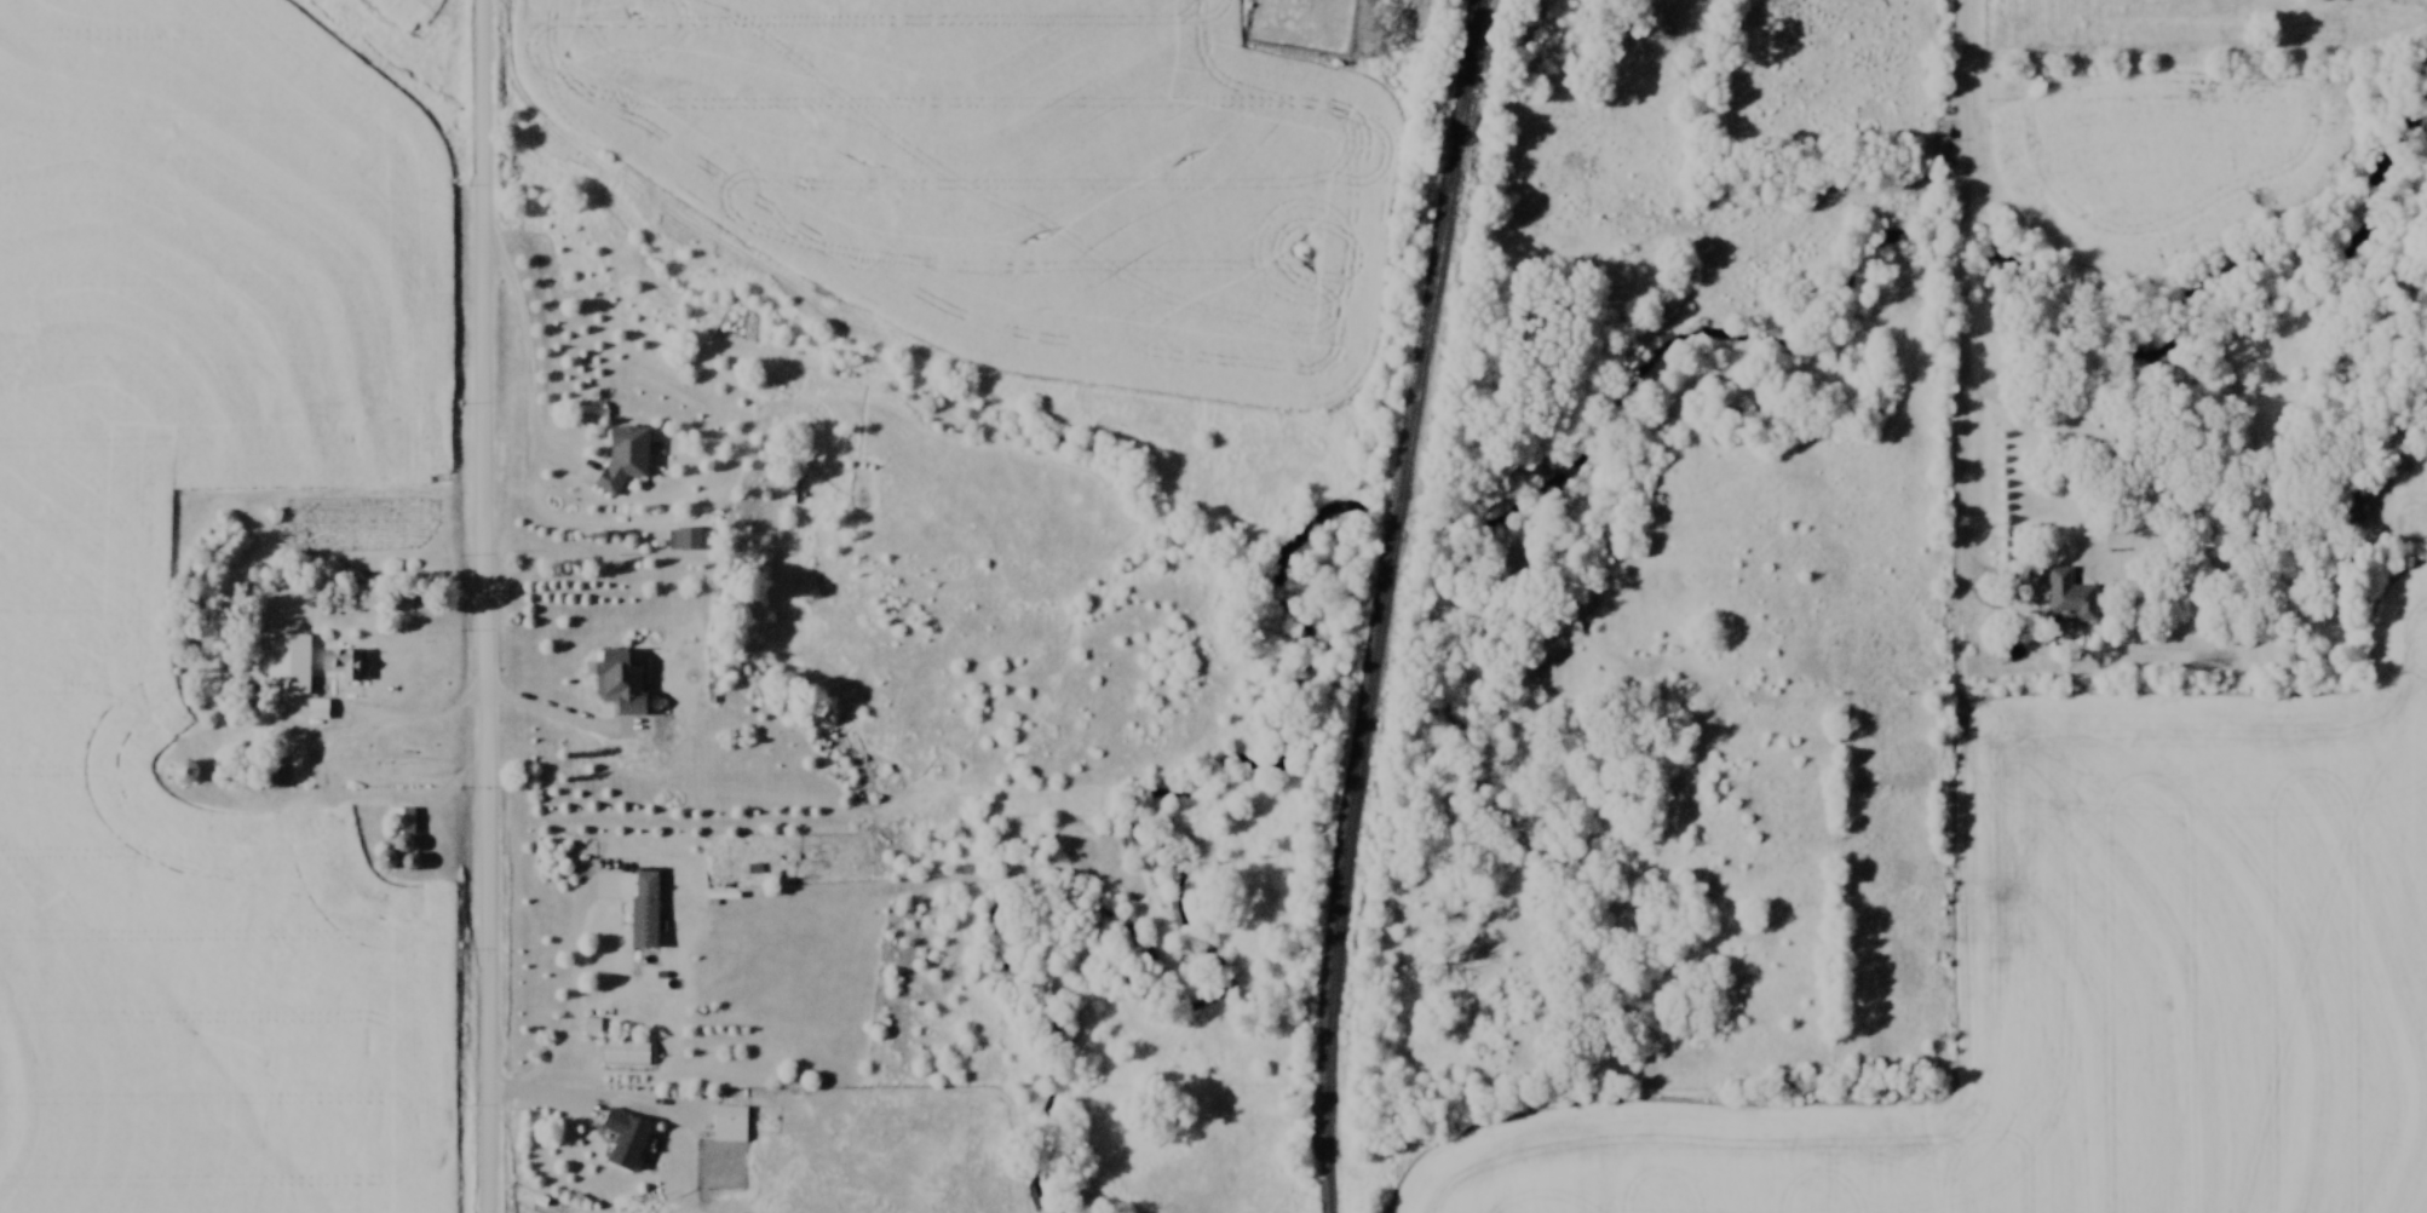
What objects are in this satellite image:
road: (1969, 63)
road: (1966, 358)
building: (625, 455)
building: (2352, 504)
building: (689, 539)
building: (2070, 598)
railway: (1393, 604)
road: (490, 605)
building: (345, 663)
building: (288, 667)
building: (621, 682)
building: (317, 709)
road: (381, 729)
building: (184, 772)
building: (403, 835)
building: (385, 861)
building: (749, 870)
building: (304, 883)
building: (644, 910)
building: (404, 924)
road: (571, 990)
building: (729, 1125)
building: (625, 1138)

